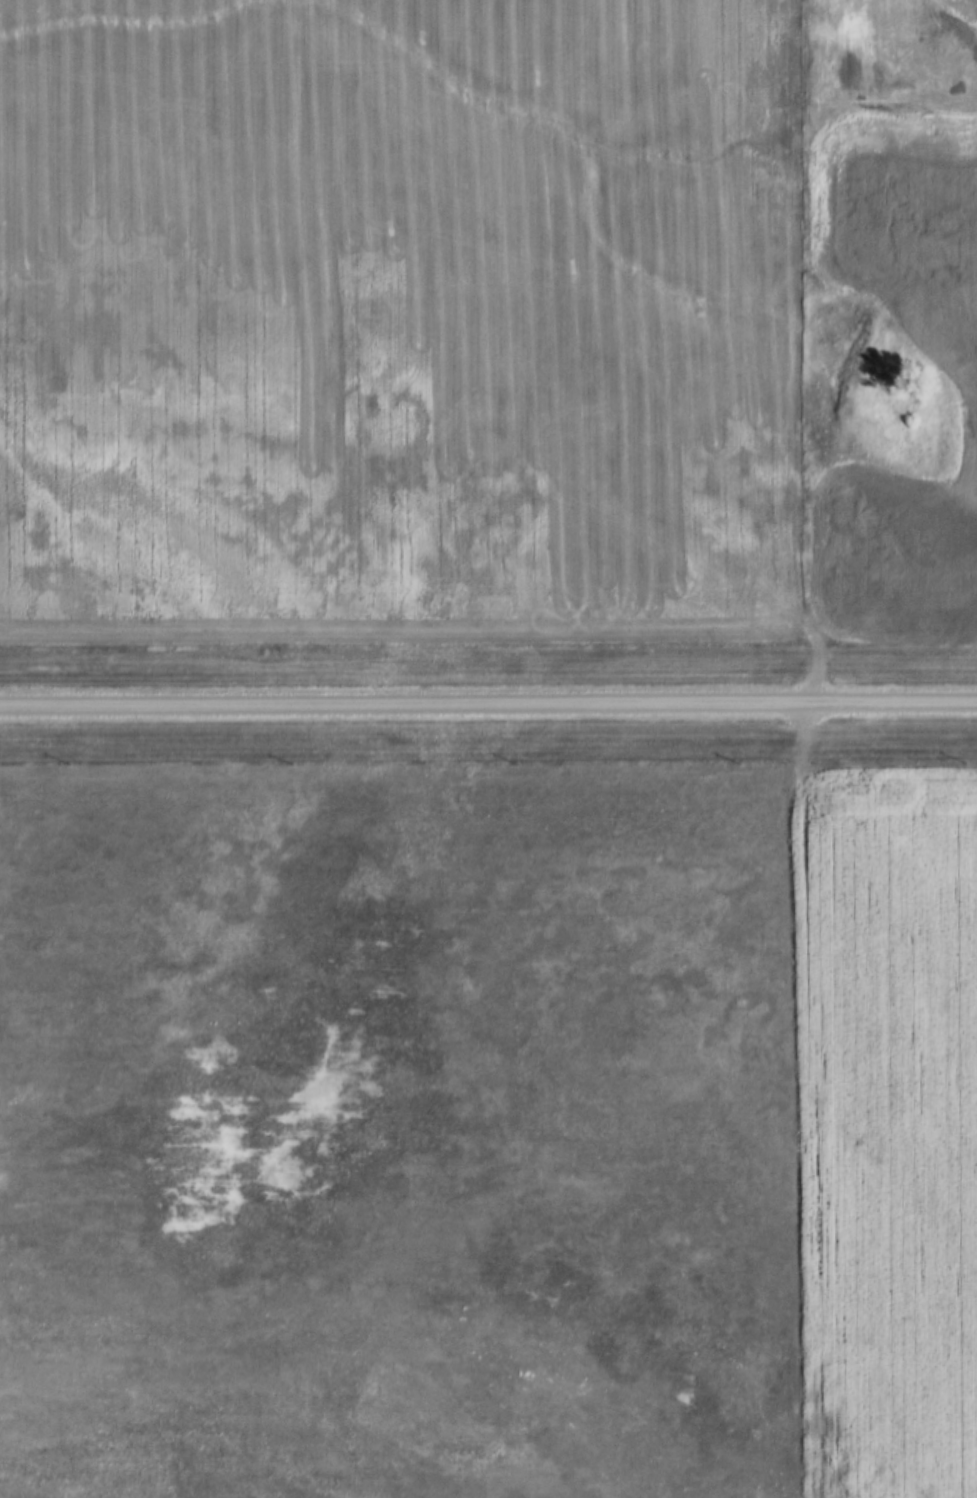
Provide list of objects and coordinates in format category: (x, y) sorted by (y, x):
road: (488, 705)

